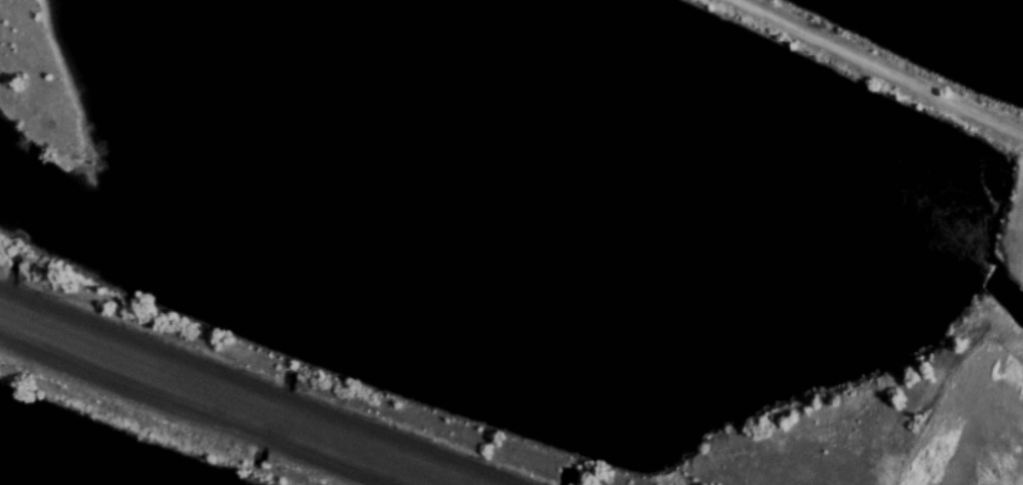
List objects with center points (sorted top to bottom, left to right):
road: (871, 72)
road: (211, 401)

